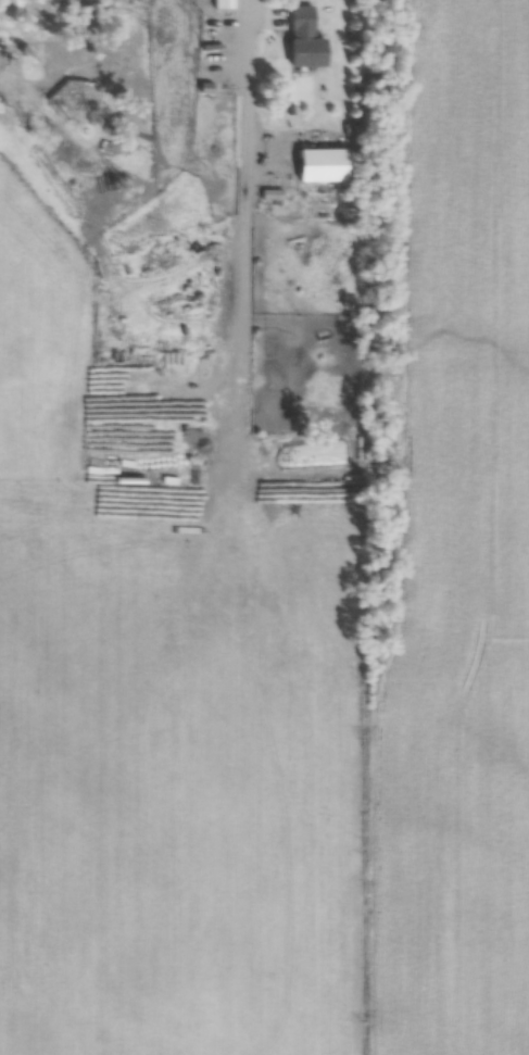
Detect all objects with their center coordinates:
road: (249, 13)
building: (301, 37)
building: (317, 163)

